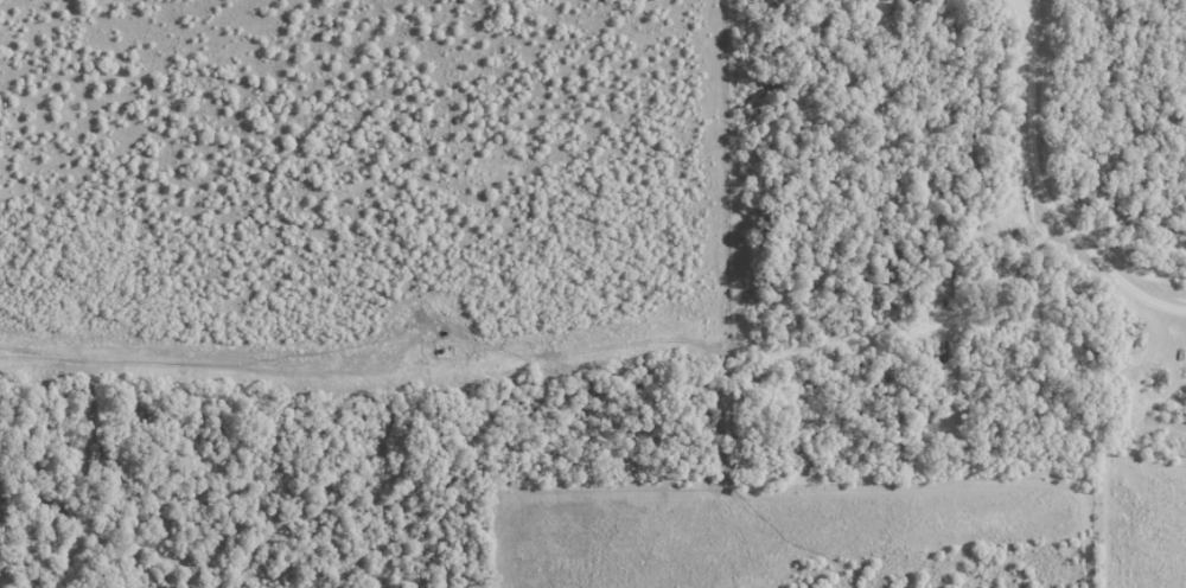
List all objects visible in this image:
road: (1025, 7)
road: (1032, 7)
road: (1108, 91)
road: (1048, 196)

